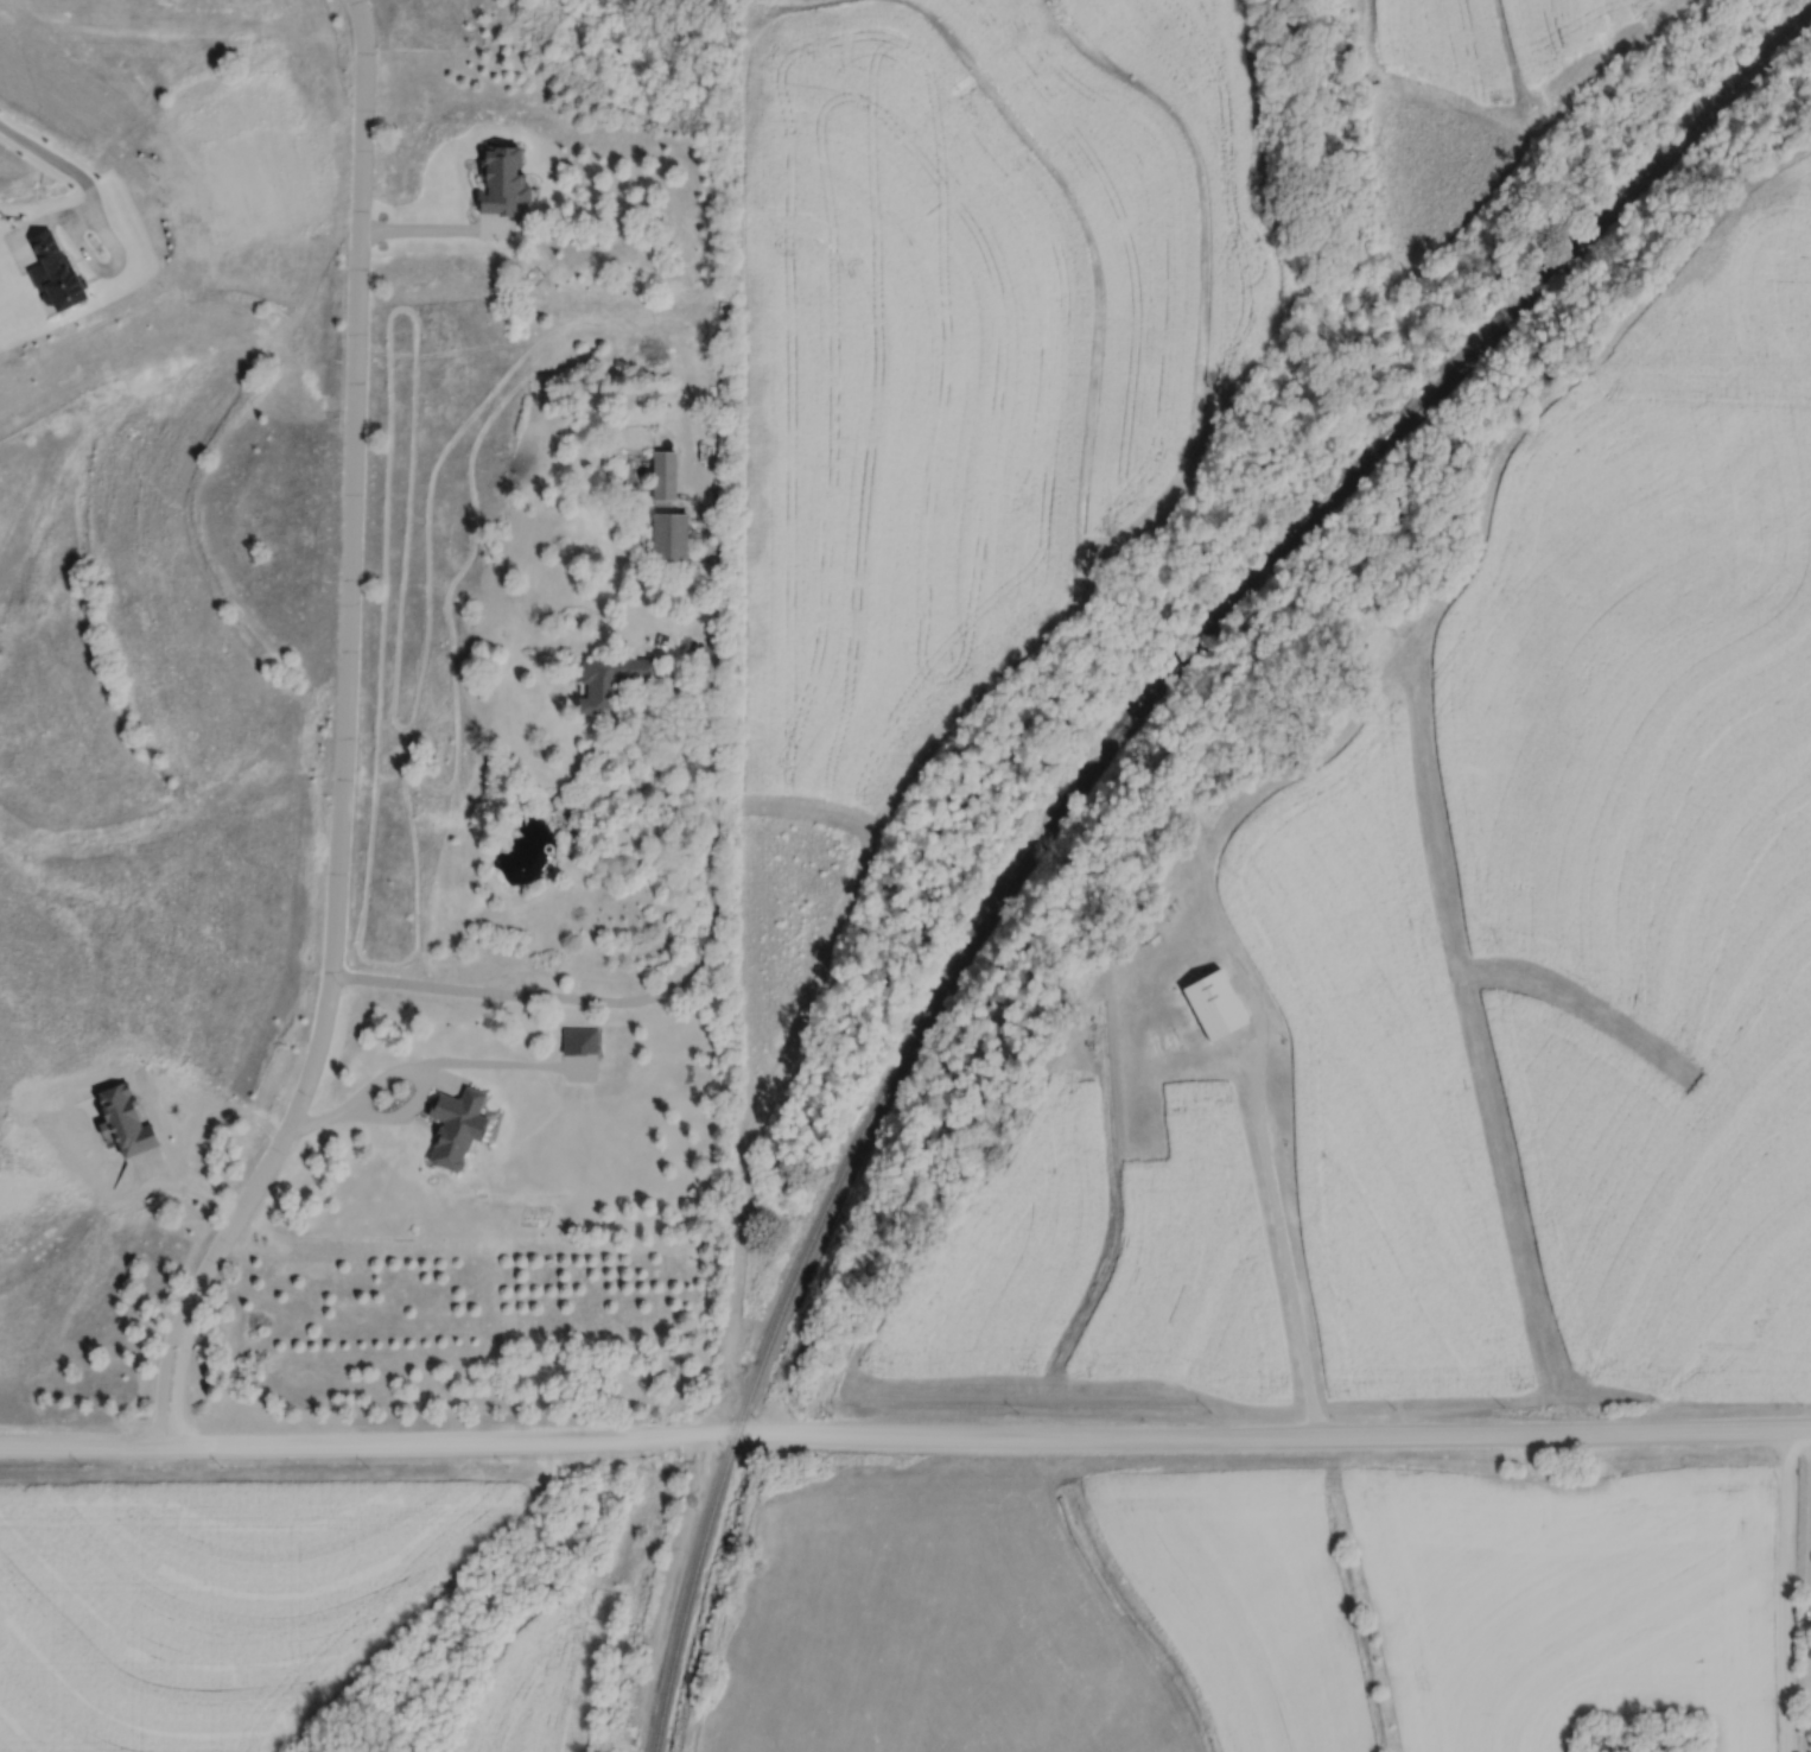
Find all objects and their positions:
crop: (1478, 95)
building: (501, 179)
road: (90, 196)
road: (434, 227)
building: (53, 272)
crop: (958, 389)
building: (663, 475)
building: (669, 534)
building: (609, 680)
road: (641, 710)
road: (343, 739)
railway: (1078, 780)
road: (713, 884)
building: (1213, 1002)
road: (369, 1087)
road: (398, 1113)
building: (455, 1124)
road: (1282, 1244)
road: (904, 1434)
road: (1786, 1589)
road: (1810, 1600)

